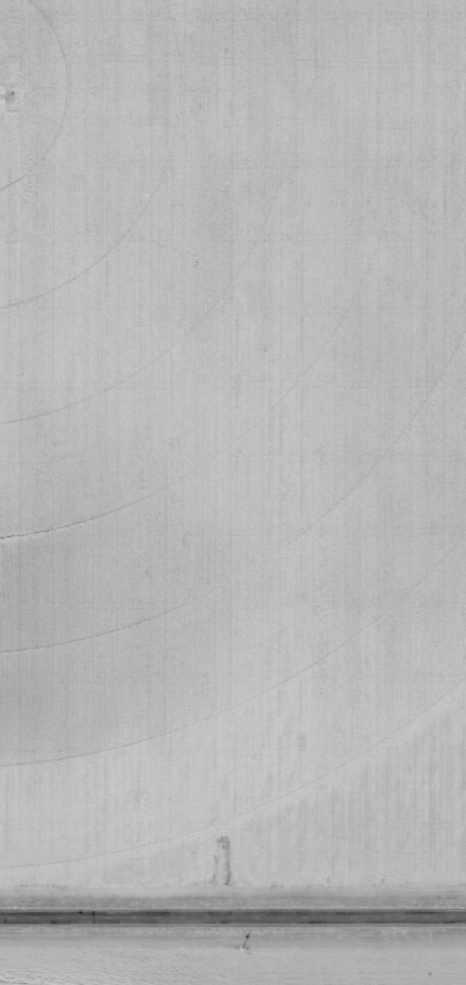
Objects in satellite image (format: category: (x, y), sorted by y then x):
road: (233, 924)

